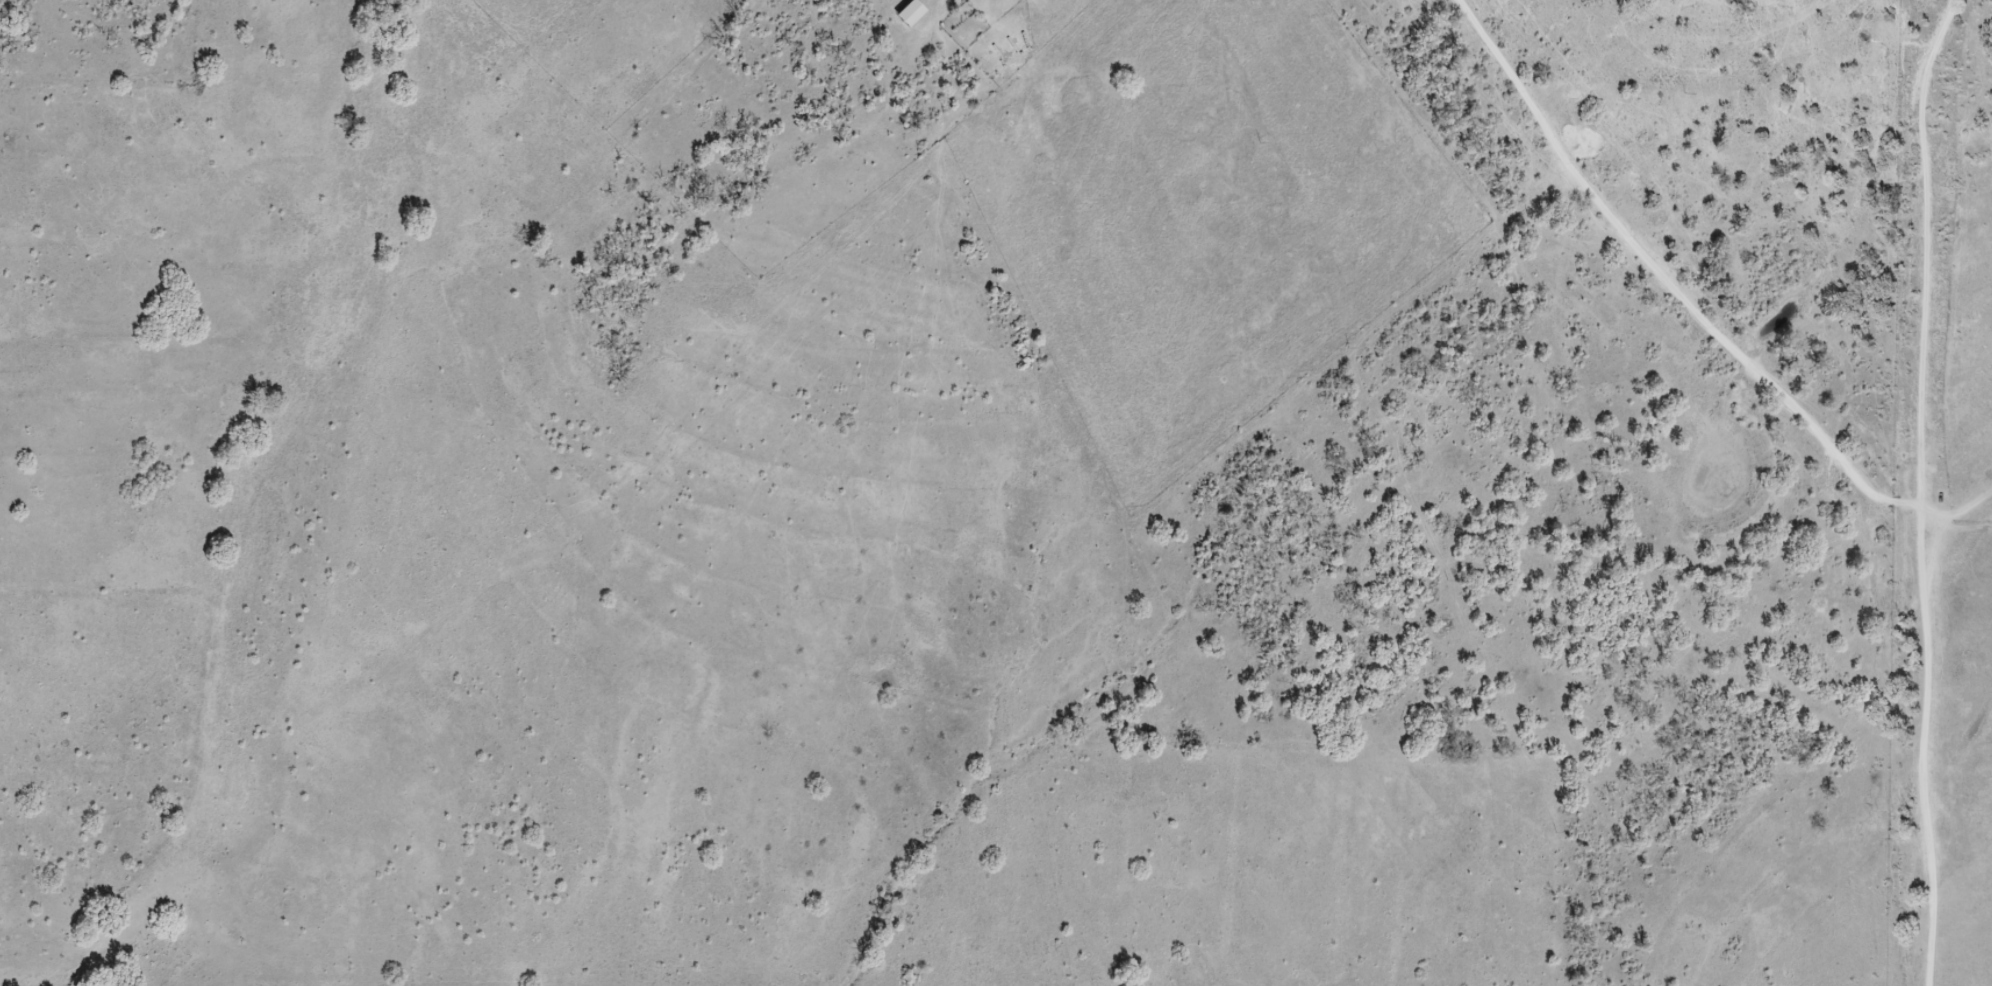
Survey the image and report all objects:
building: (907, 15)
road: (1913, 611)

